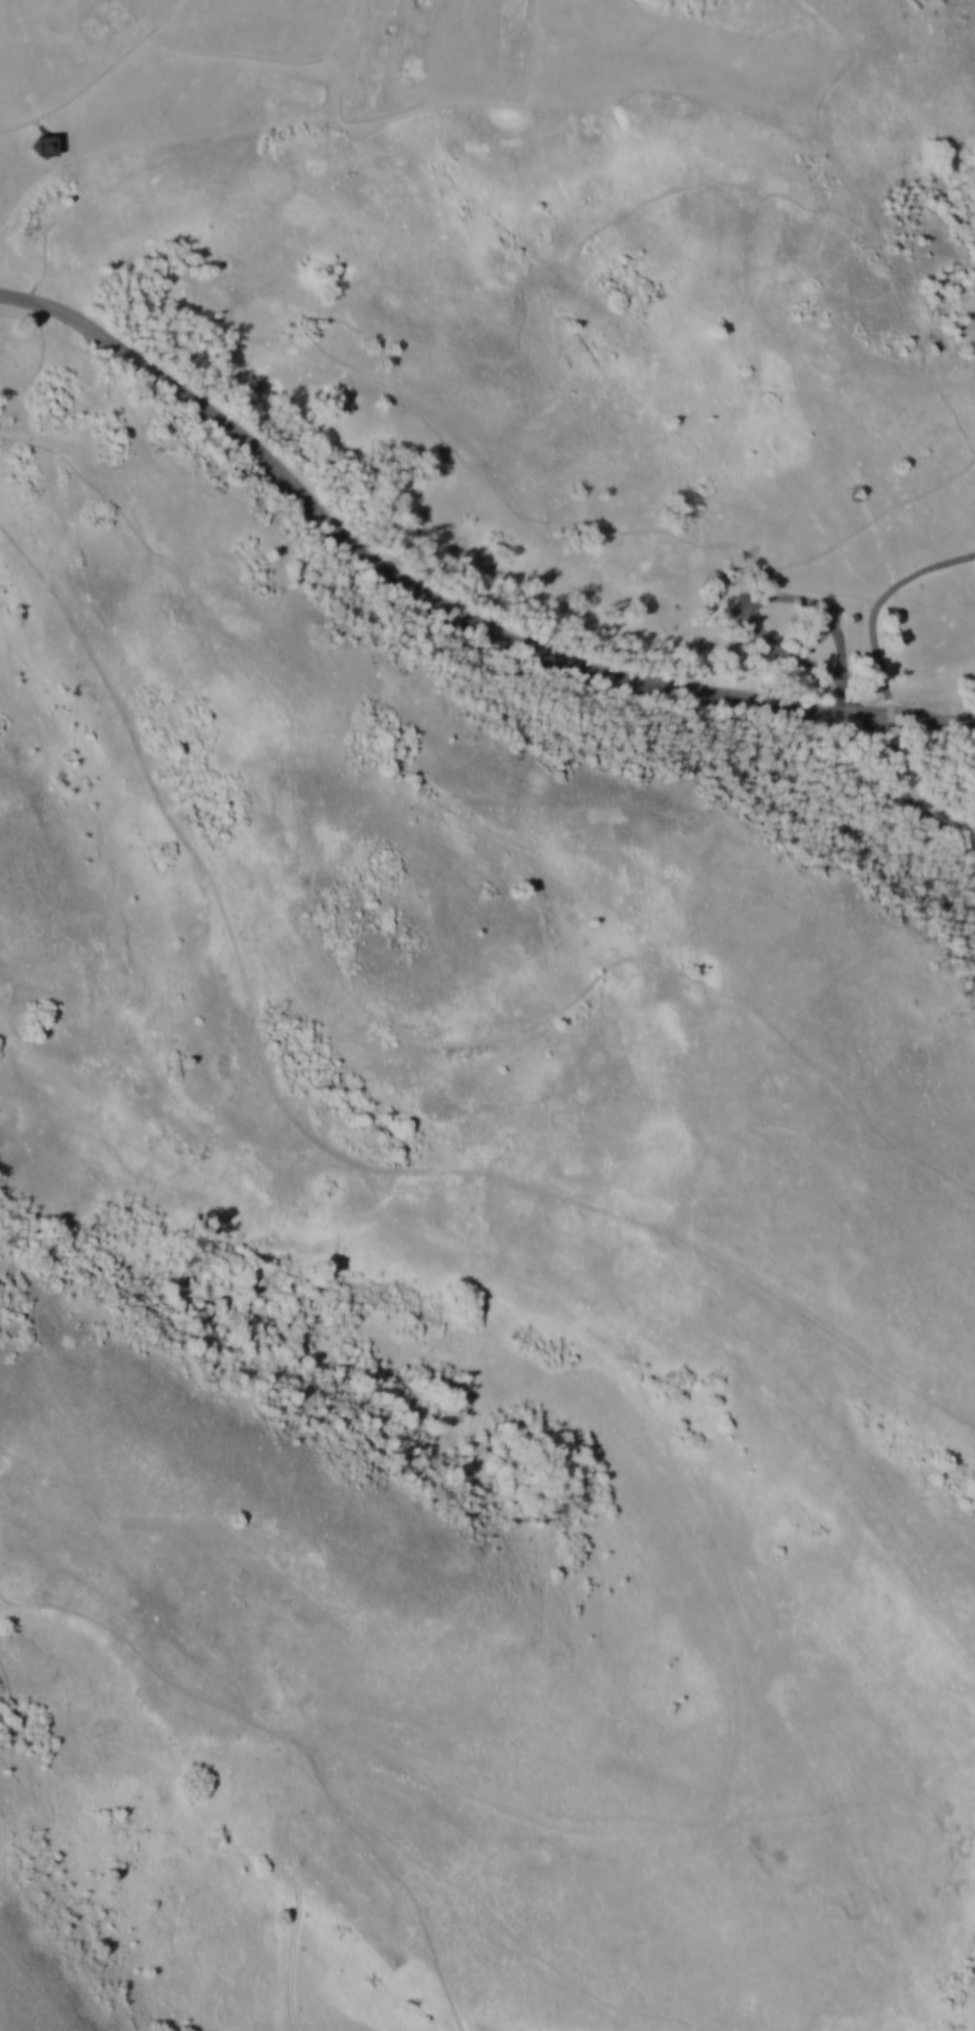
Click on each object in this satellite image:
road: (162, 6)
road: (339, 28)
road: (531, 42)
road: (271, 59)
road: (97, 76)
building: (36, 145)
road: (447, 598)
road: (888, 690)
park: (487, 1015)
road: (324, 1149)

